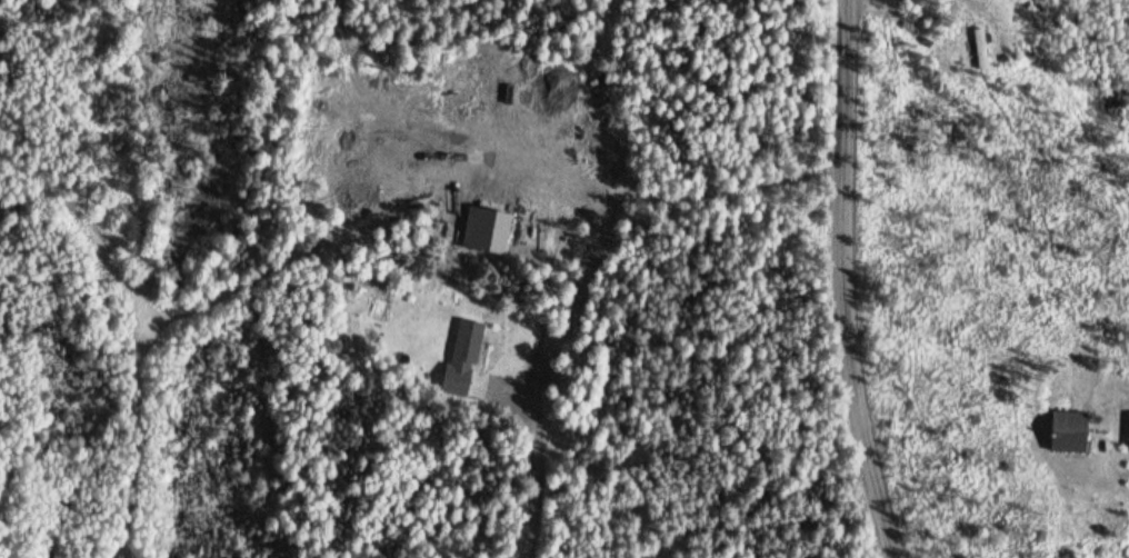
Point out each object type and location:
road: (841, 281)
building: (461, 358)
building: (1065, 434)
building: (1128, 434)
road: (528, 442)
road: (1127, 551)

